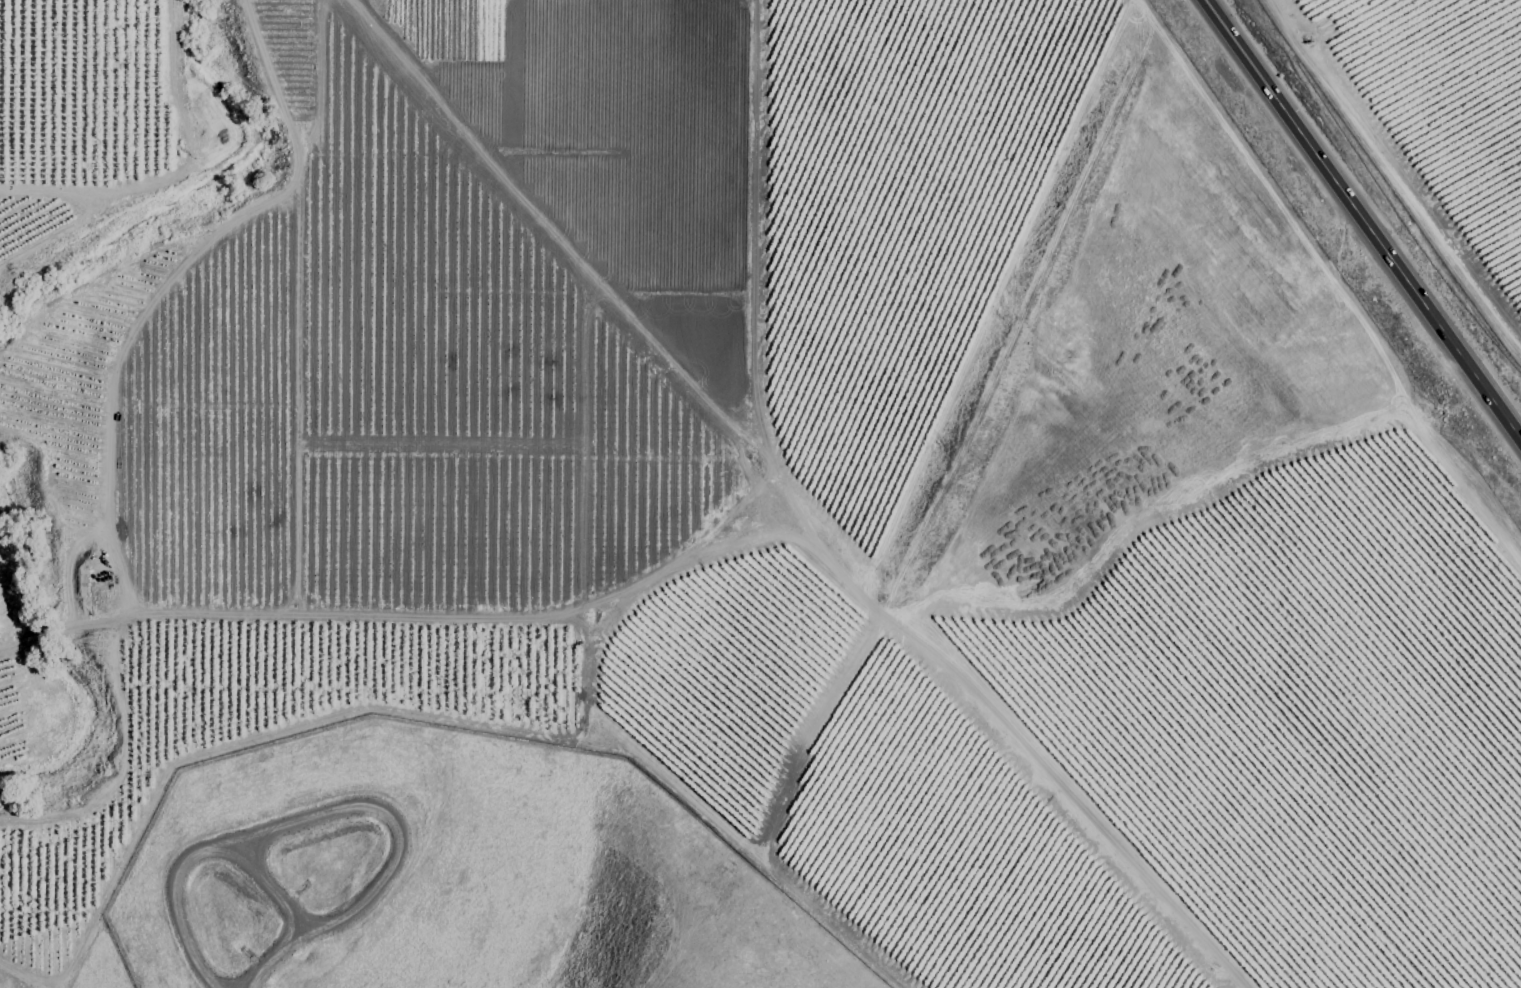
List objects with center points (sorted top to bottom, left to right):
road: (1362, 222)
crop: (796, 452)

